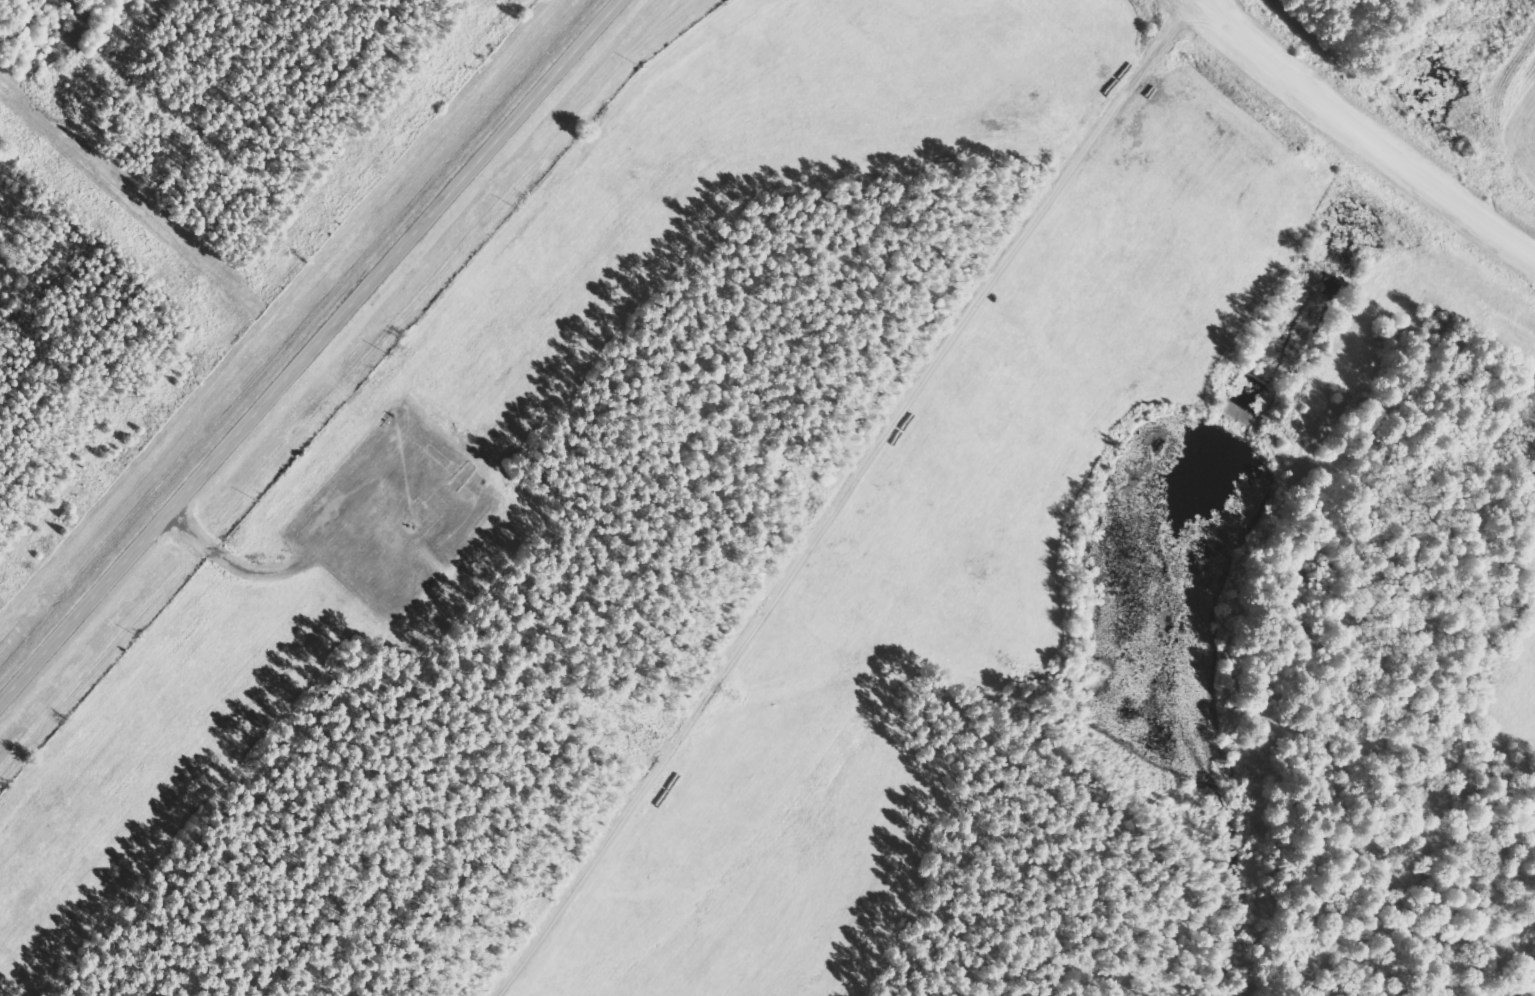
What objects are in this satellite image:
road: (1361, 126)
road: (308, 351)

